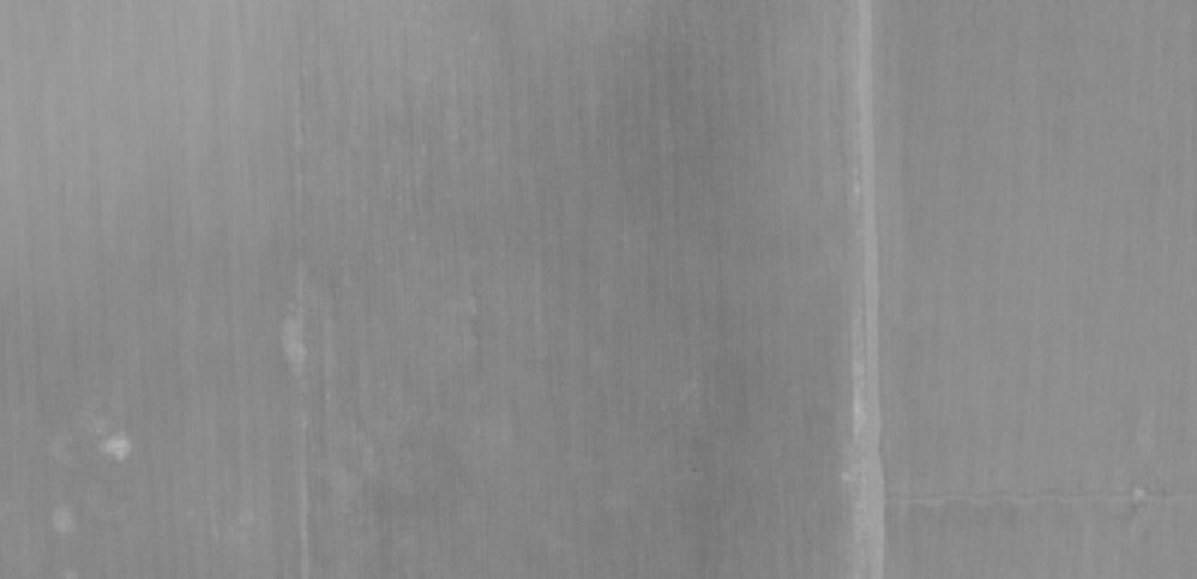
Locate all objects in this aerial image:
crop: (976, 288)
road: (861, 289)
crop: (378, 290)

